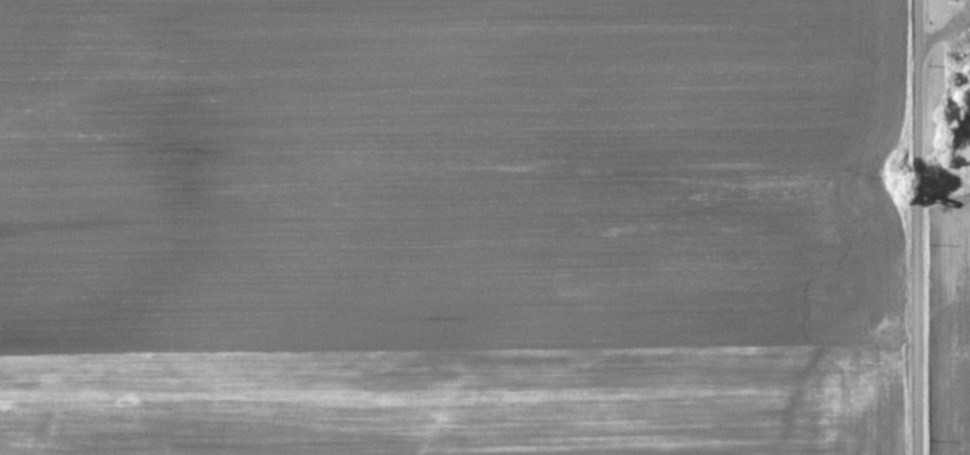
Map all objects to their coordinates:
road: (945, 36)
road: (914, 227)

